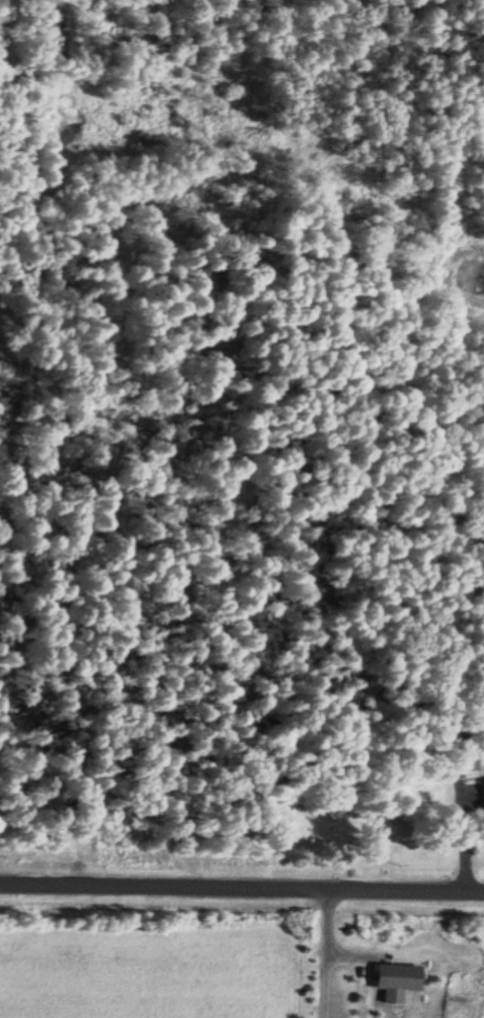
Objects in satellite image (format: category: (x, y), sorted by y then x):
building: (467, 755)
road: (241, 896)
road: (330, 957)
building: (401, 978)

